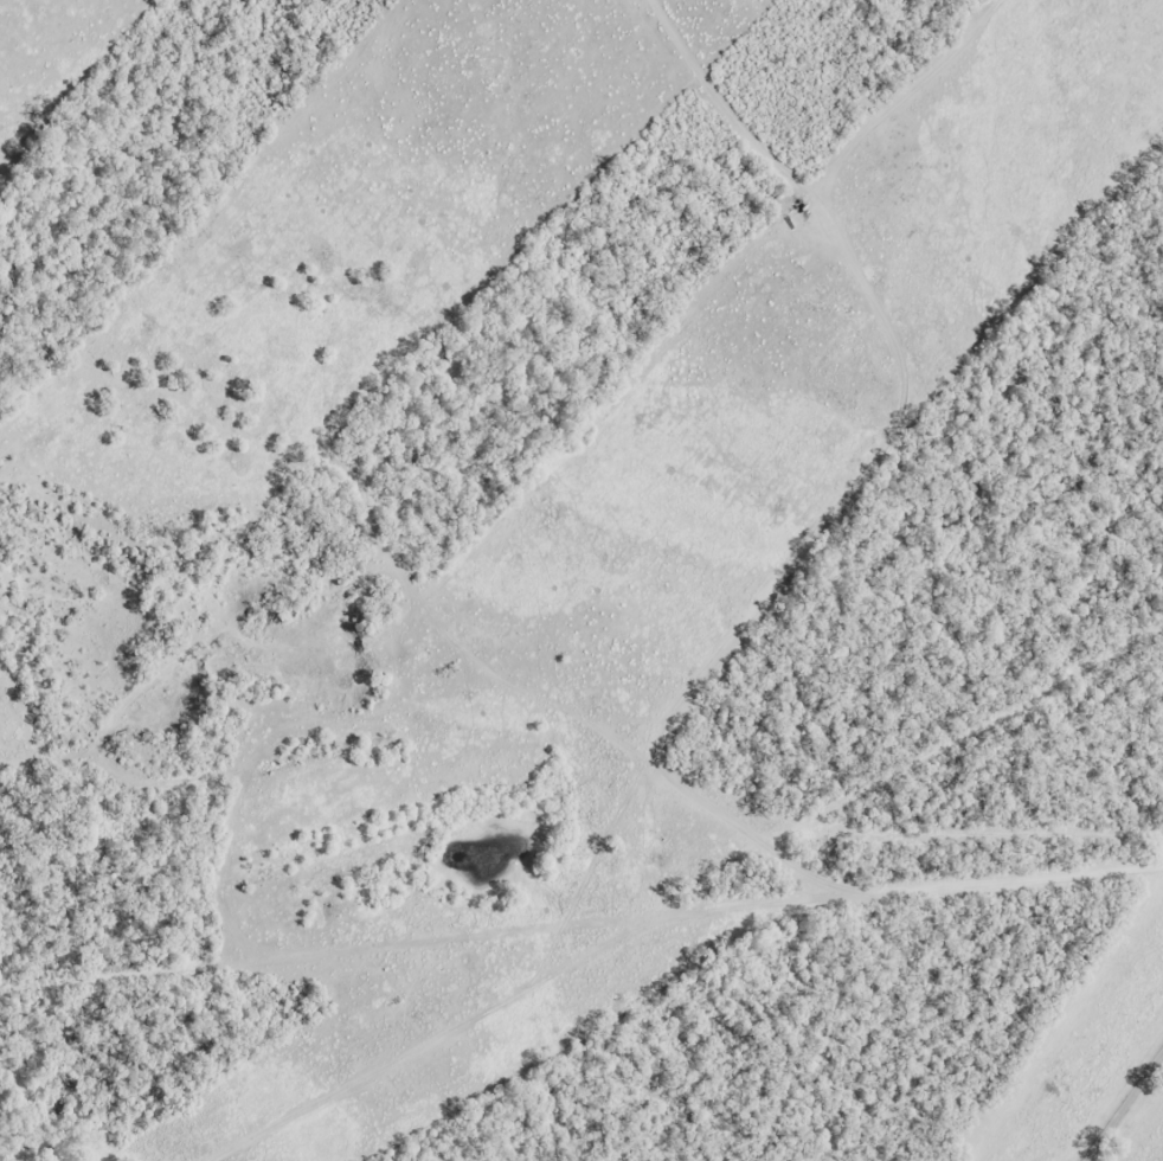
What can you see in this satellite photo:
road: (1139, 1127)

